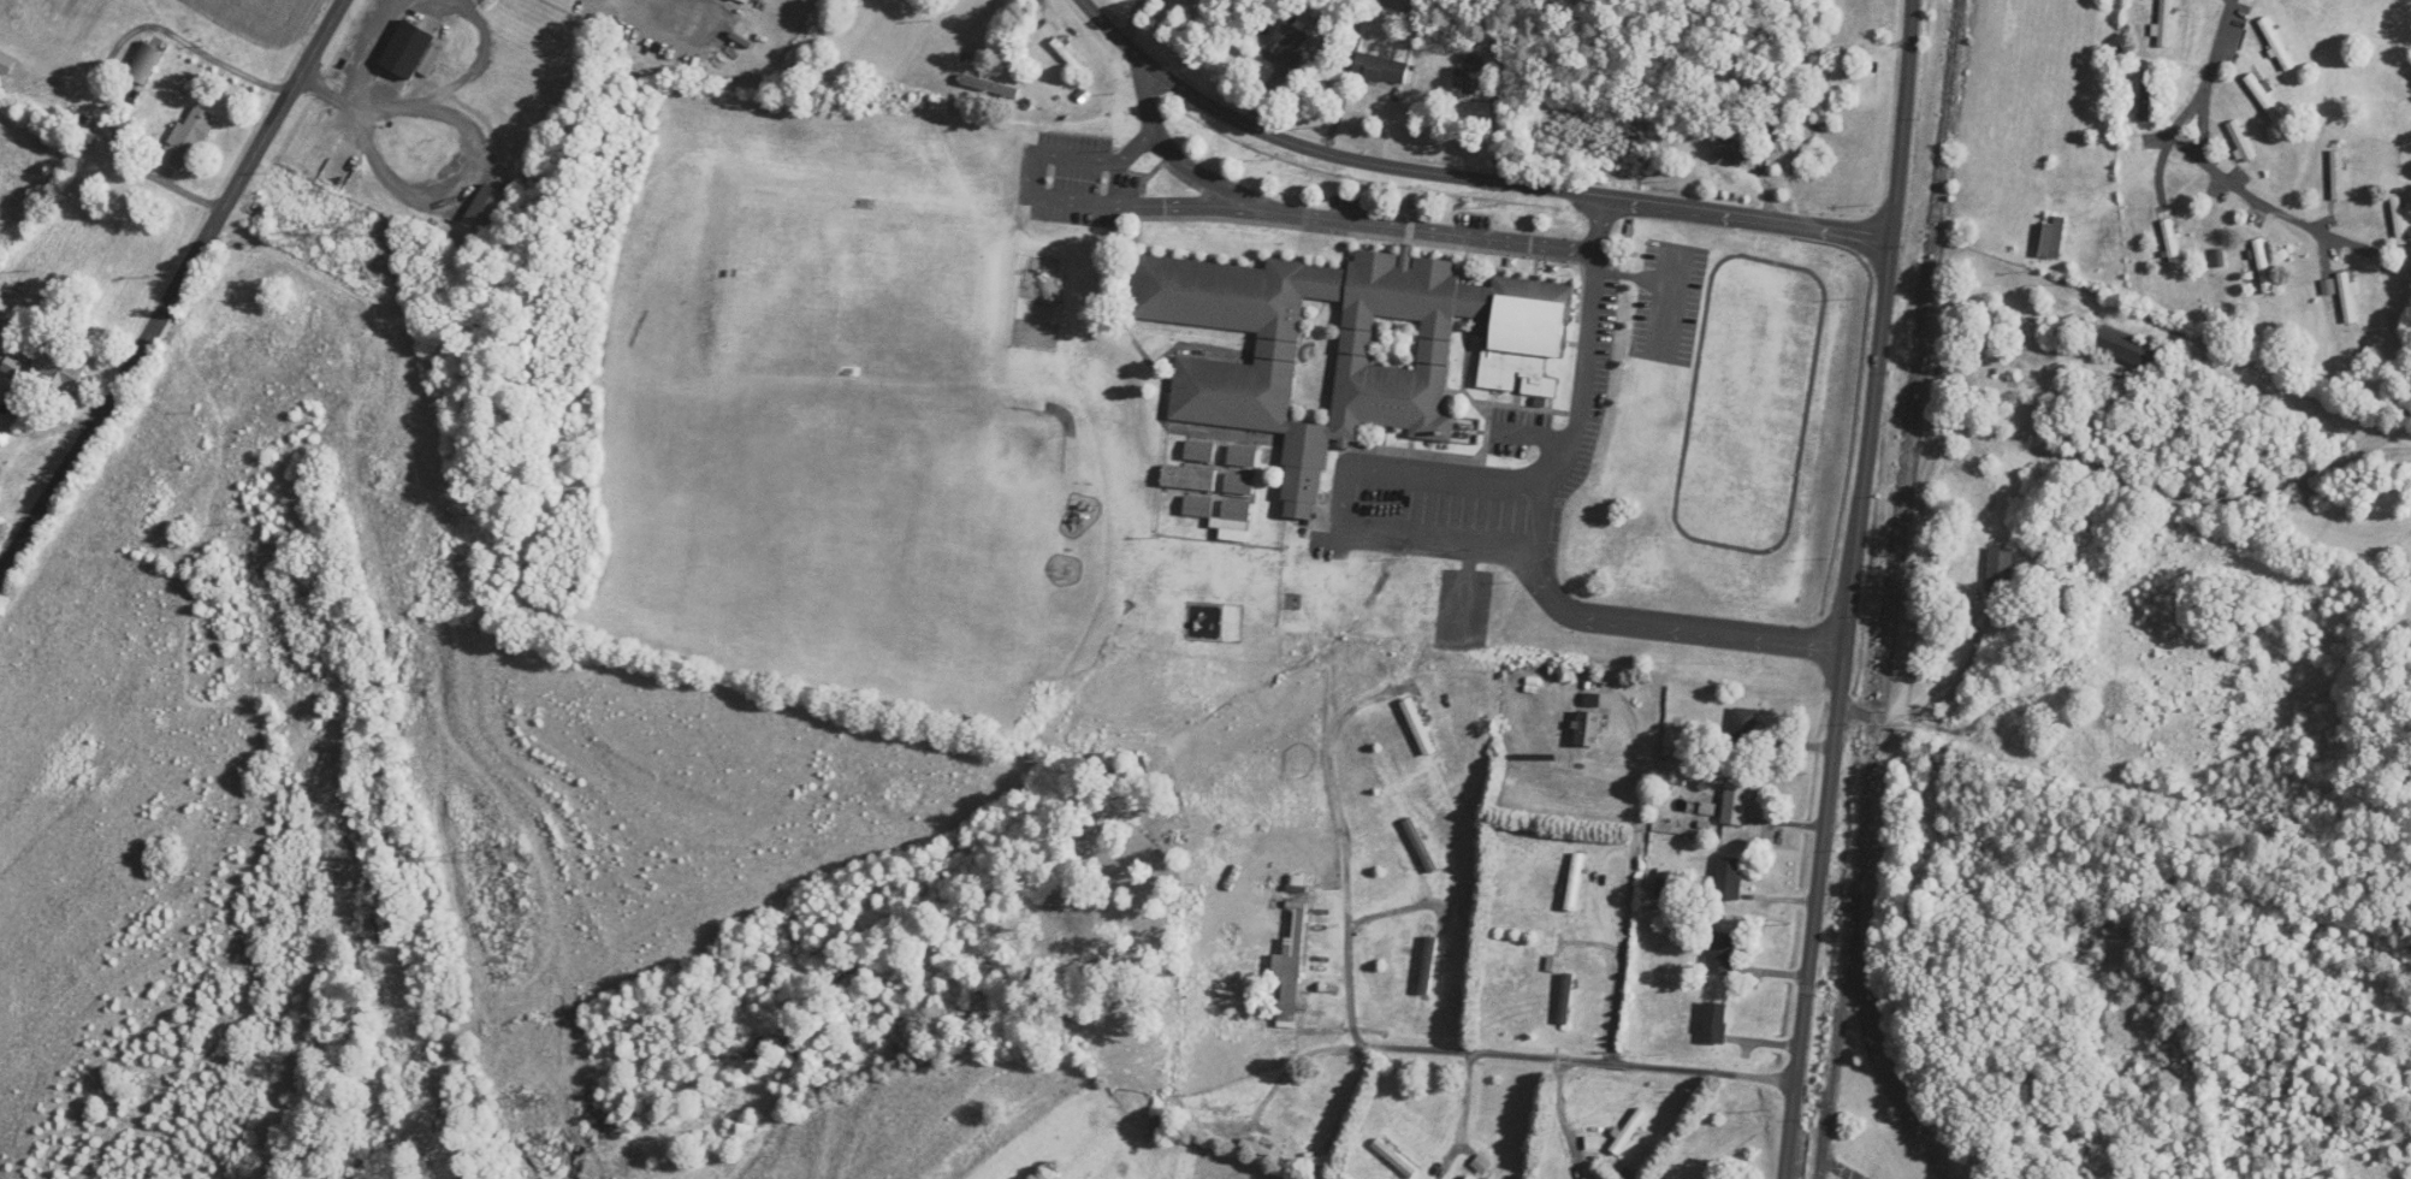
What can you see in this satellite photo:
building: (2164, 23)
building: (1289, 42)
building: (2275, 43)
building: (411, 48)
building: (1068, 55)
building: (144, 63)
building: (1379, 67)
building: (1473, 76)
building: (990, 87)
building: (1821, 91)
building: (2146, 95)
building: (2265, 97)
road: (396, 112)
building: (1773, 114)
road: (2179, 124)
building: (189, 136)
building: (2240, 141)
building: (1734, 146)
road: (2216, 168)
building: (2339, 173)
road: (1462, 176)
road: (1208, 178)
road: (1225, 205)
building: (485, 209)
building: (2398, 214)
power tower: (359, 229)
building: (2051, 237)
power tower: (314, 239)
building: (2172, 244)
building: (16, 260)
building: (2263, 266)
road: (178, 290)
building: (2347, 297)
building: (2126, 348)
building: (1346, 349)
building: (10, 365)
building: (58, 369)
road: (2395, 446)
building: (1199, 451)
building: (1243, 457)
road: (2030, 457)
building: (1187, 478)
building: (1239, 485)
building: (1197, 506)
building: (1236, 510)
road: (1787, 545)
road: (1542, 569)
building: (2000, 569)
road: (1855, 589)
building: (2062, 669)
power tower: (423, 682)
building: (2019, 712)
building: (1743, 725)
building: (1418, 727)
river: (390, 729)
building: (1588, 729)
building: (1735, 805)
building: (1420, 846)
power tower: (513, 852)
building: (1728, 879)
building: (1574, 882)
building: (1722, 954)
road: (1625, 962)
building: (1428, 966)
road: (1370, 971)
building: (1565, 1000)
building: (1713, 1024)
railway: (1878, 1054)
road: (1598, 1073)
power tower: (528, 1100)
building: (1305, 1131)
building: (1629, 1132)
building: (1394, 1159)
building: (1469, 1178)
building: (1586, 1178)

